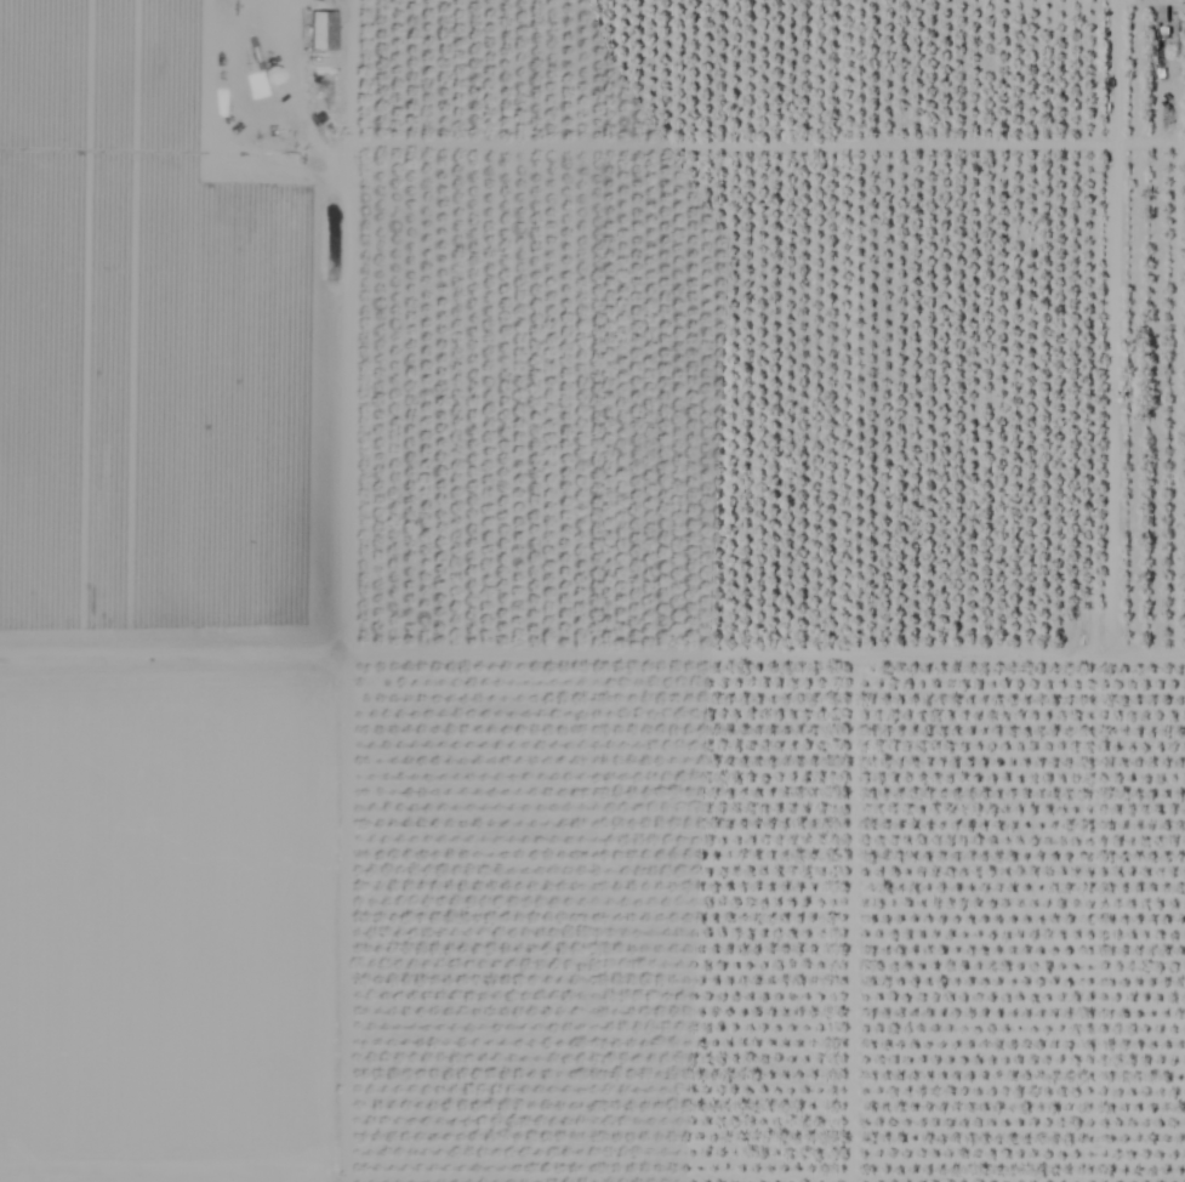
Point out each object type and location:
building: (1155, 2)
road: (290, 17)
building: (320, 30)
crop: (592, 591)

